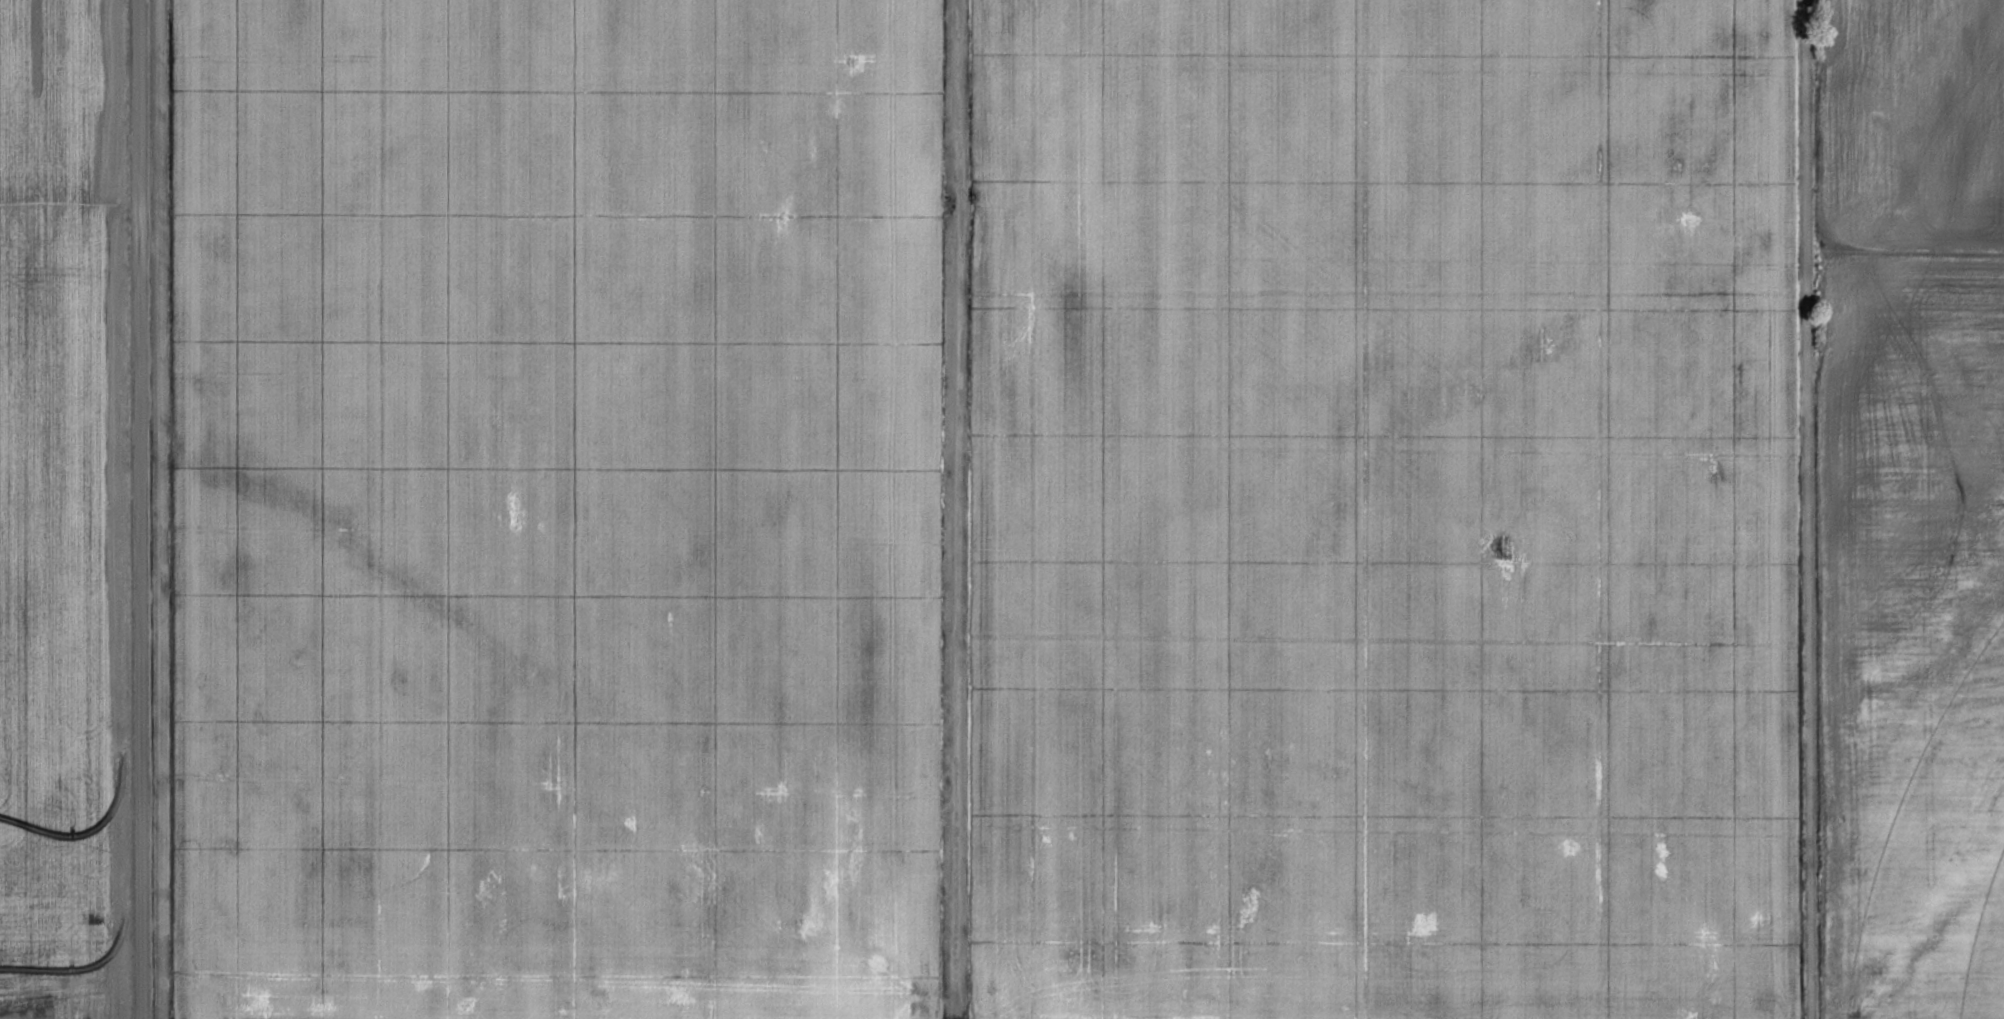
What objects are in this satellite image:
road: (146, 509)
road: (958, 509)

